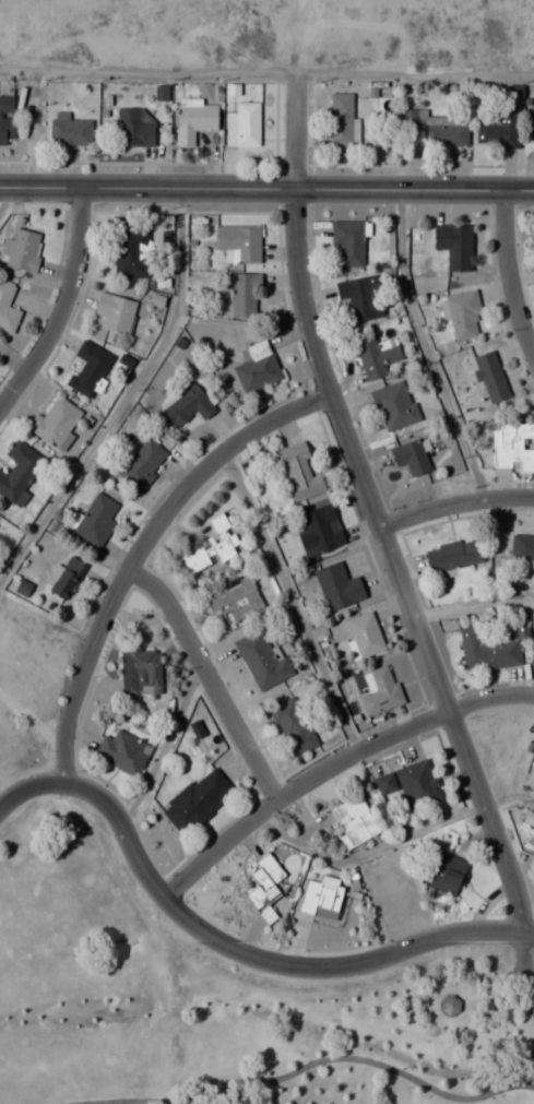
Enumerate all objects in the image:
road: (149, 73)
road: (416, 74)
building: (193, 119)
building: (341, 119)
building: (7, 120)
building: (531, 120)
building: (244, 124)
building: (133, 128)
building: (499, 128)
building: (70, 129)
building: (442, 129)
road: (266, 188)
road: (7, 198)
building: (238, 242)
building: (347, 244)
building: (454, 246)
building: (23, 249)
building: (131, 253)
road: (506, 275)
building: (244, 295)
building: (360, 298)
building: (8, 308)
road: (64, 308)
building: (115, 312)
building: (462, 313)
road: (427, 346)
building: (375, 356)
building: (90, 368)
building: (258, 368)
building: (490, 376)
road: (126, 395)
building: (188, 404)
building: (393, 405)
building: (55, 422)
building: (512, 446)
building: (411, 456)
building: (142, 463)
building: (298, 472)
building: (19, 473)
road: (454, 503)
building: (95, 521)
building: (322, 529)
road: (383, 543)
building: (522, 546)
building: (212, 547)
road: (143, 551)
building: (452, 557)
building: (67, 577)
building: (340, 585)
building: (236, 598)
road: (293, 602)
road: (472, 606)
building: (364, 636)
building: (489, 651)
building: (262, 661)
building: (141, 672)
road: (211, 678)
building: (380, 691)
building: (294, 726)
building: (195, 728)
road: (162, 744)
building: (122, 751)
building: (533, 758)
road: (332, 764)
building: (383, 784)
building: (417, 784)
road: (508, 798)
building: (197, 800)
building: (353, 819)
road: (365, 851)
building: (448, 875)
building: (265, 886)
building: (322, 895)
park: (38, 909)
road: (229, 948)
park: (484, 949)
road: (66, 968)
building: (449, 1004)
road: (287, 1011)
park: (190, 1040)
road: (358, 1059)
road: (117, 1064)
road: (129, 1101)

